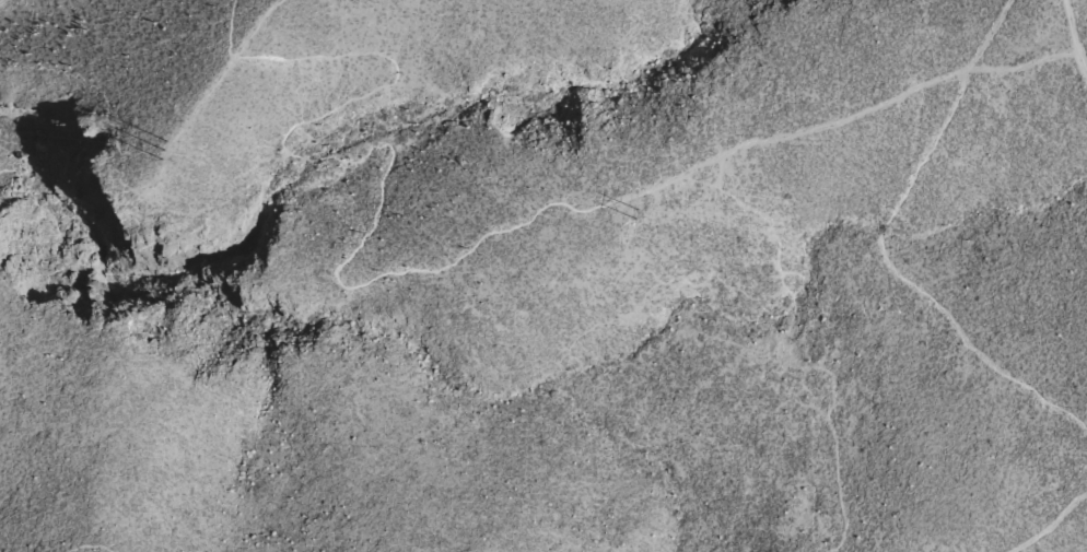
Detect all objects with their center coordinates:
road: (2, 1)
road: (1076, 33)
road: (217, 89)
road: (875, 250)
road: (443, 265)
road: (1049, 524)

